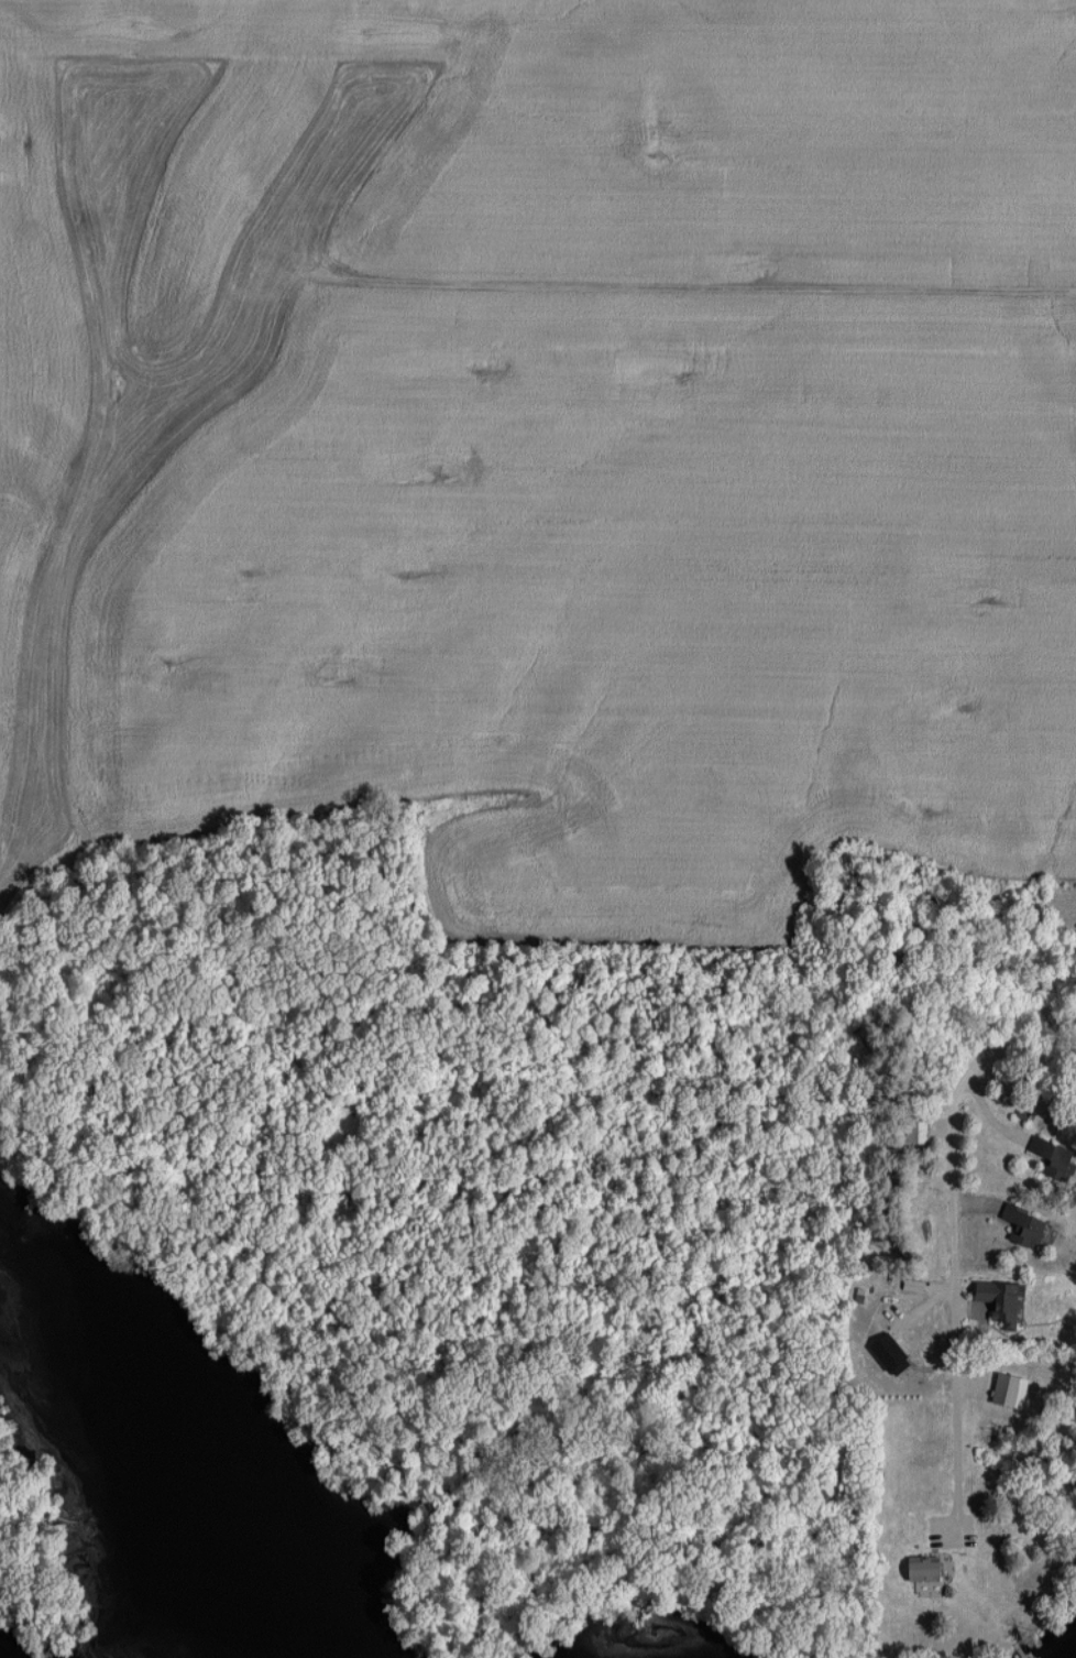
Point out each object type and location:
building: (1051, 1158)
building: (1021, 1226)
road: (947, 1245)
building: (991, 1305)
building: (916, 1569)

